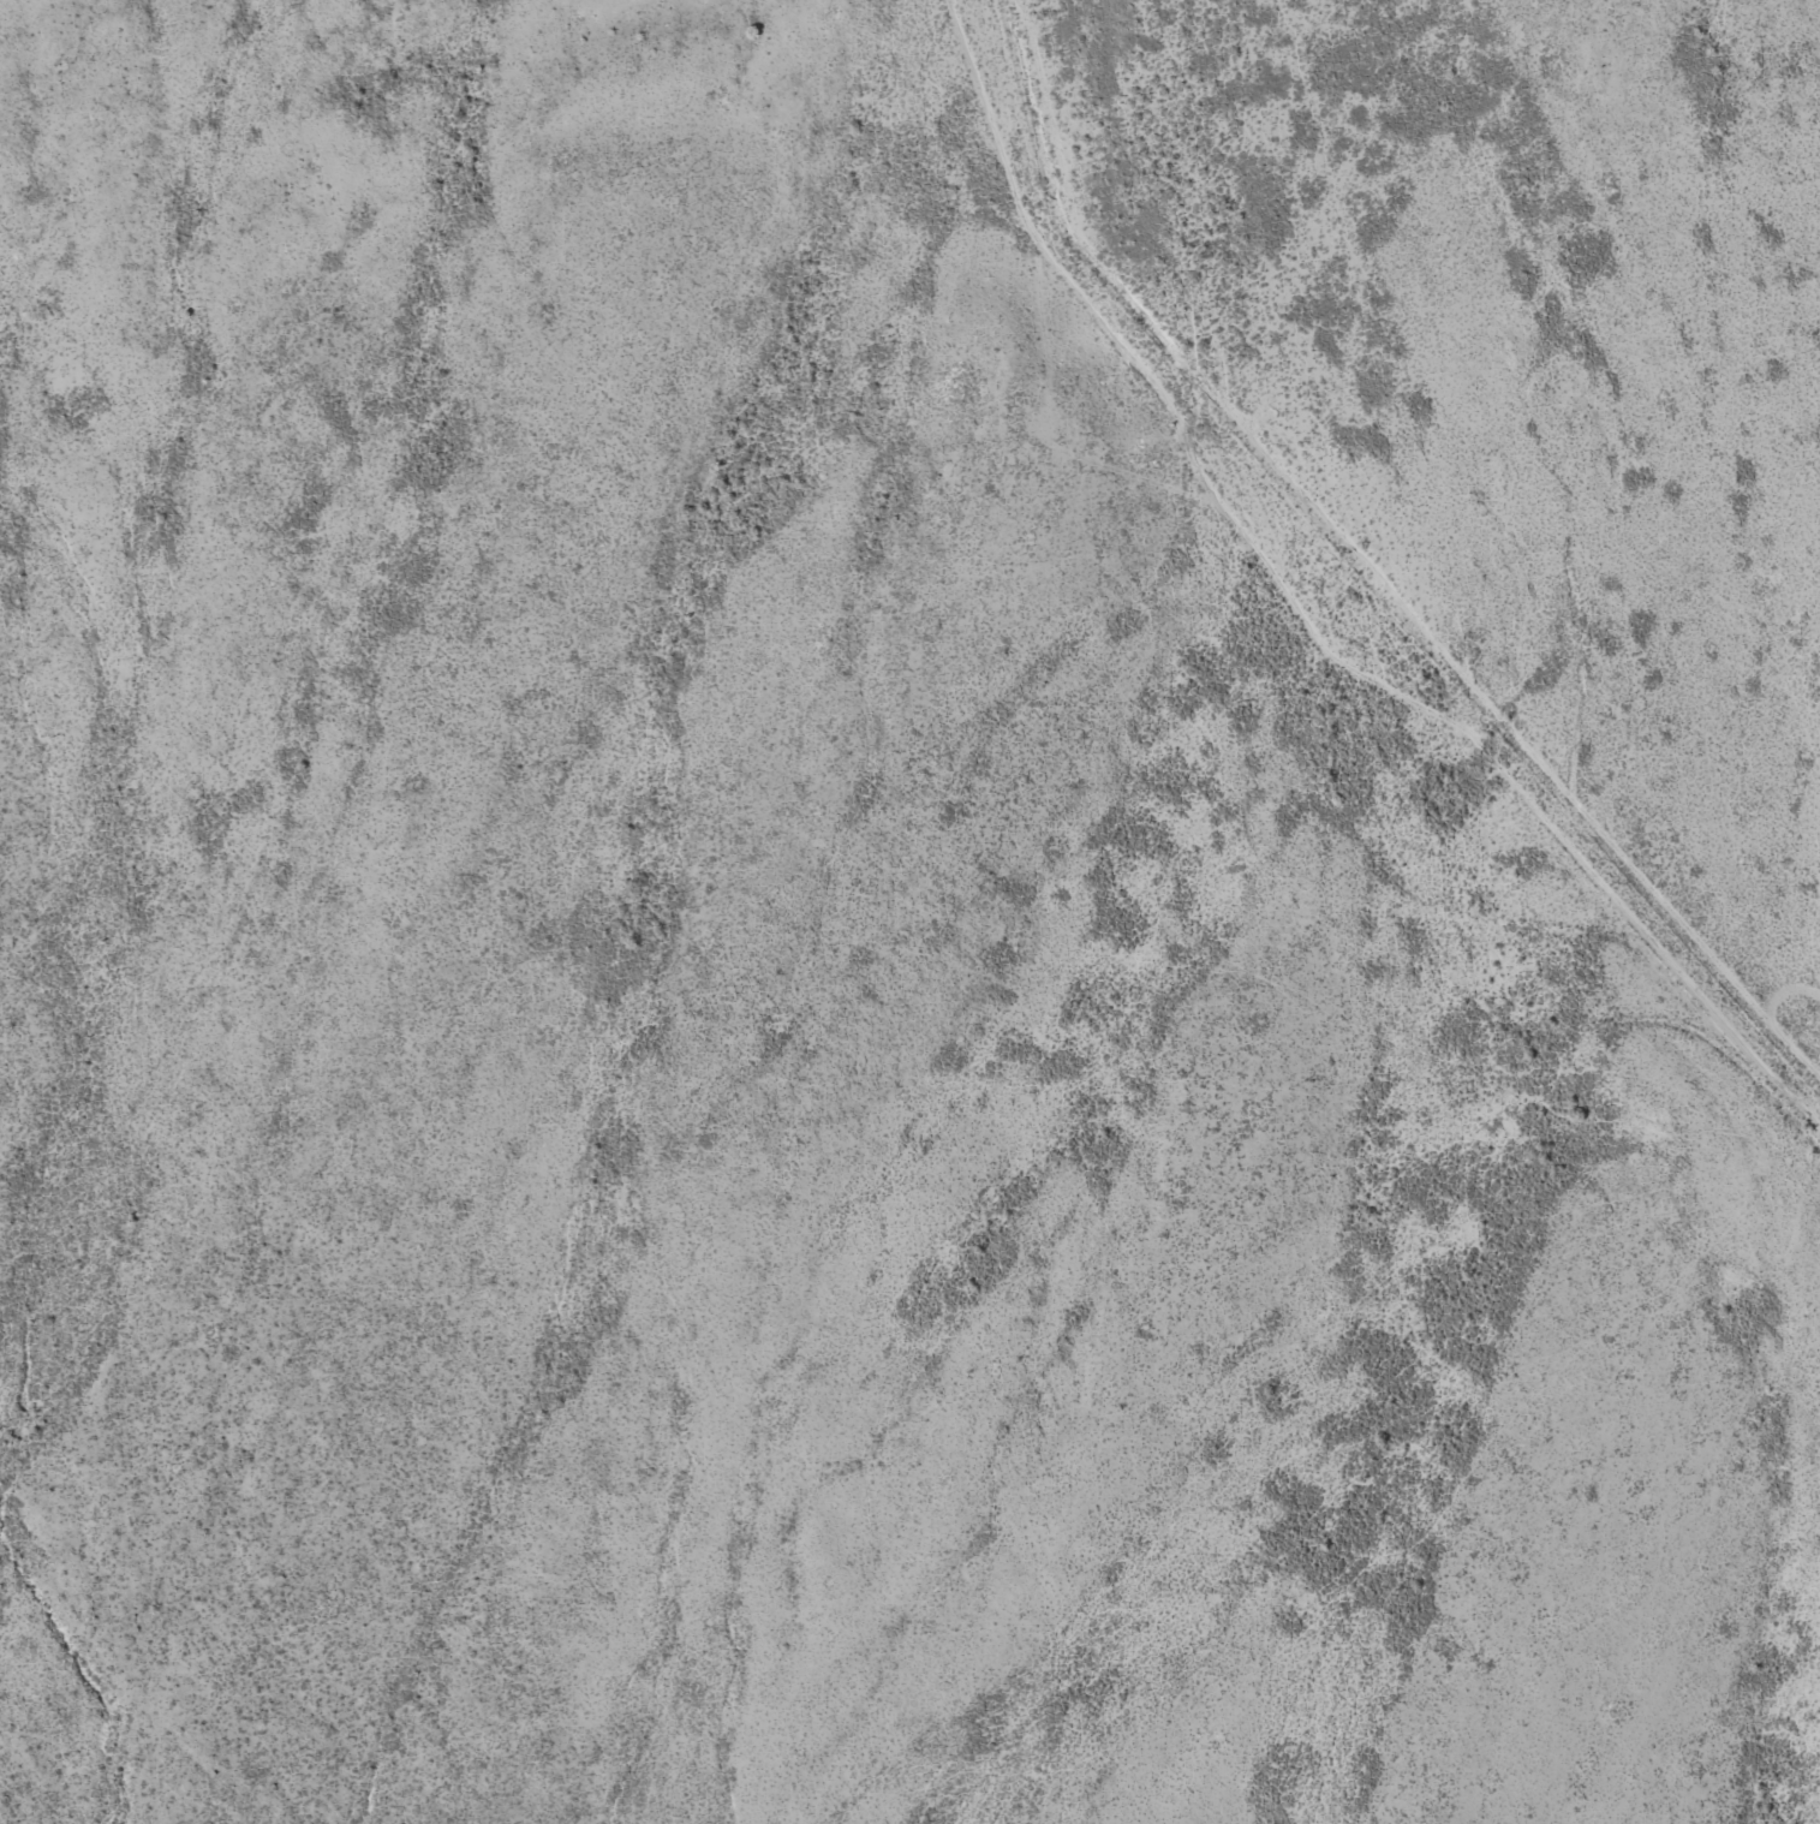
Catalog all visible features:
road: (1373, 574)

